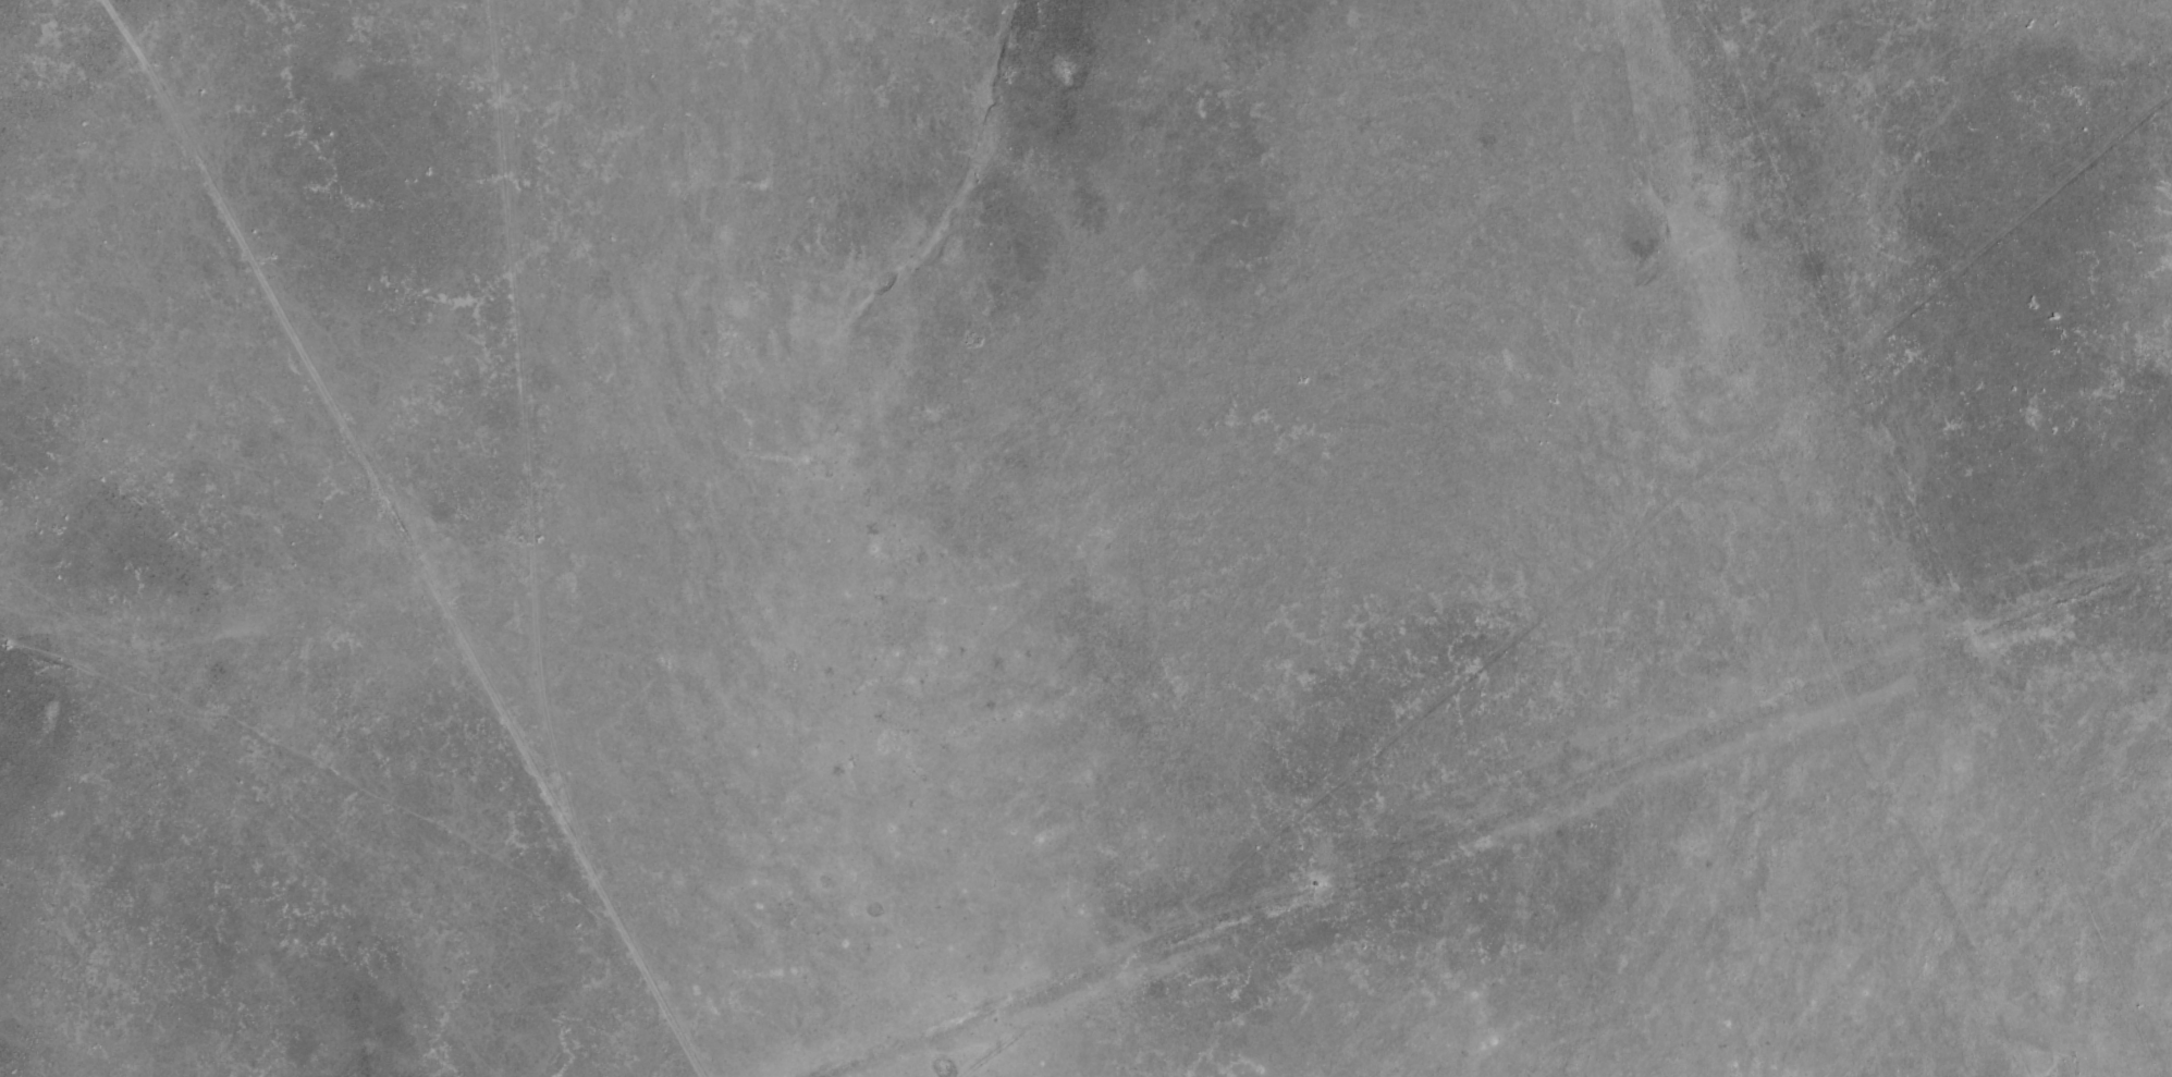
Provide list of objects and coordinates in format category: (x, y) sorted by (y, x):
road: (323, 542)
road: (1569, 587)

